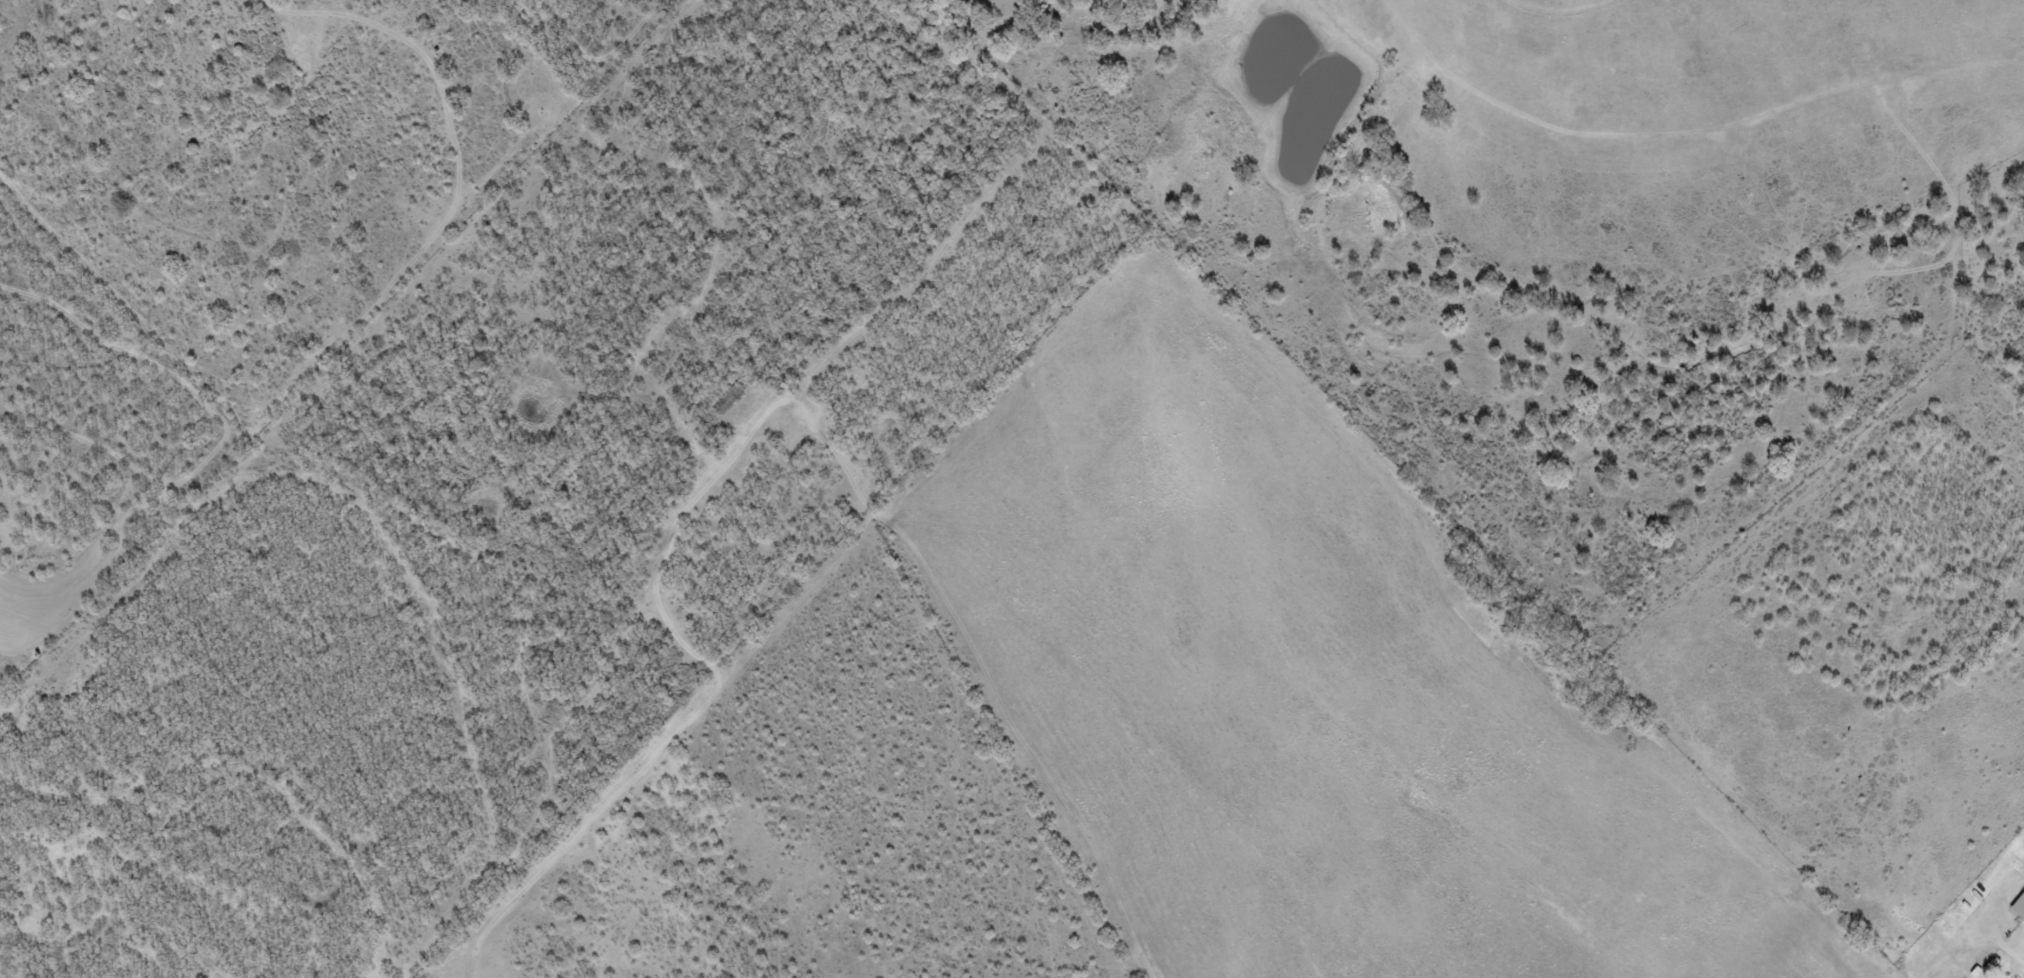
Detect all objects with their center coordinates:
building: (727, 398)
building: (2019, 907)

